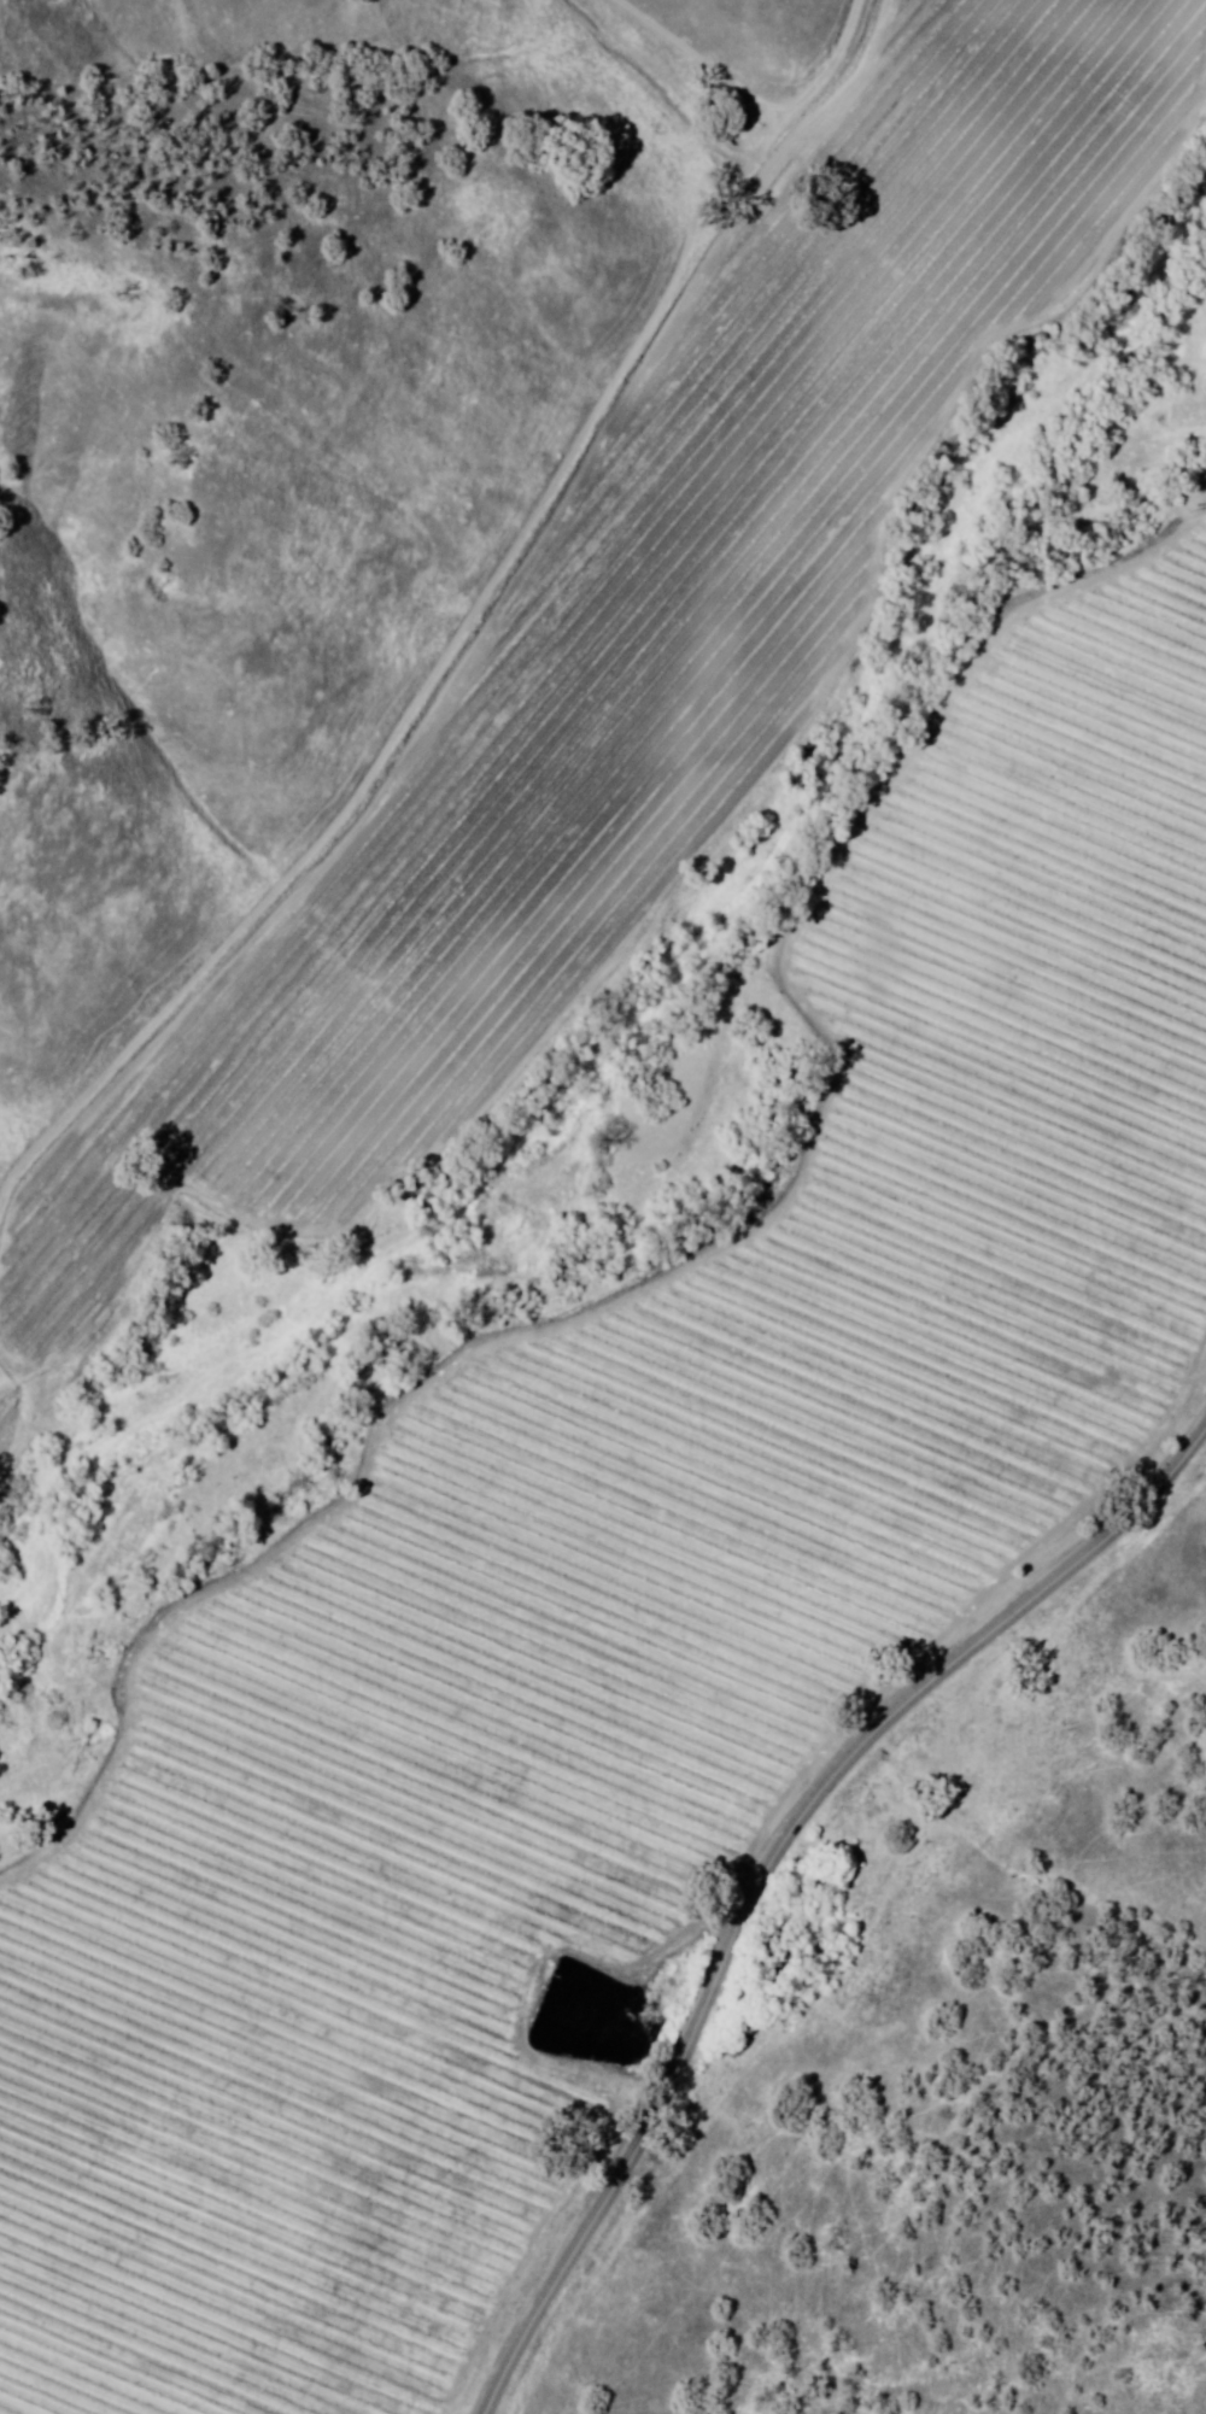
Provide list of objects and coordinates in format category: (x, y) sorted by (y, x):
road: (699, 35)
road: (912, 175)
crop: (972, 1202)
road: (777, 1864)

